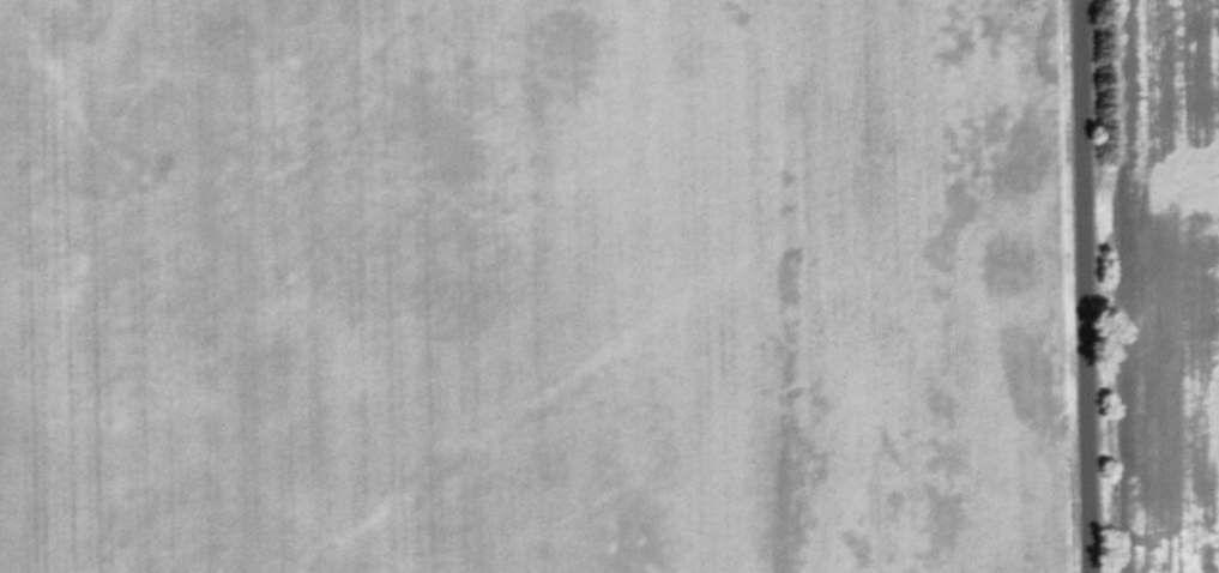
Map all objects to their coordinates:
road: (1090, 286)

